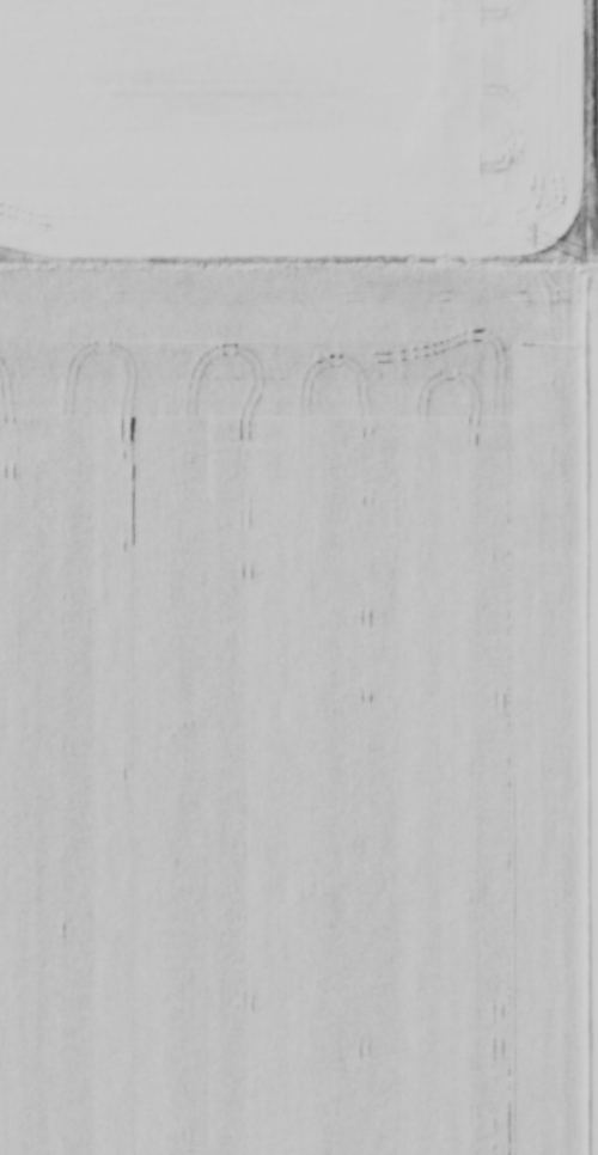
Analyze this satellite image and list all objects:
power tower: (581, 252)

